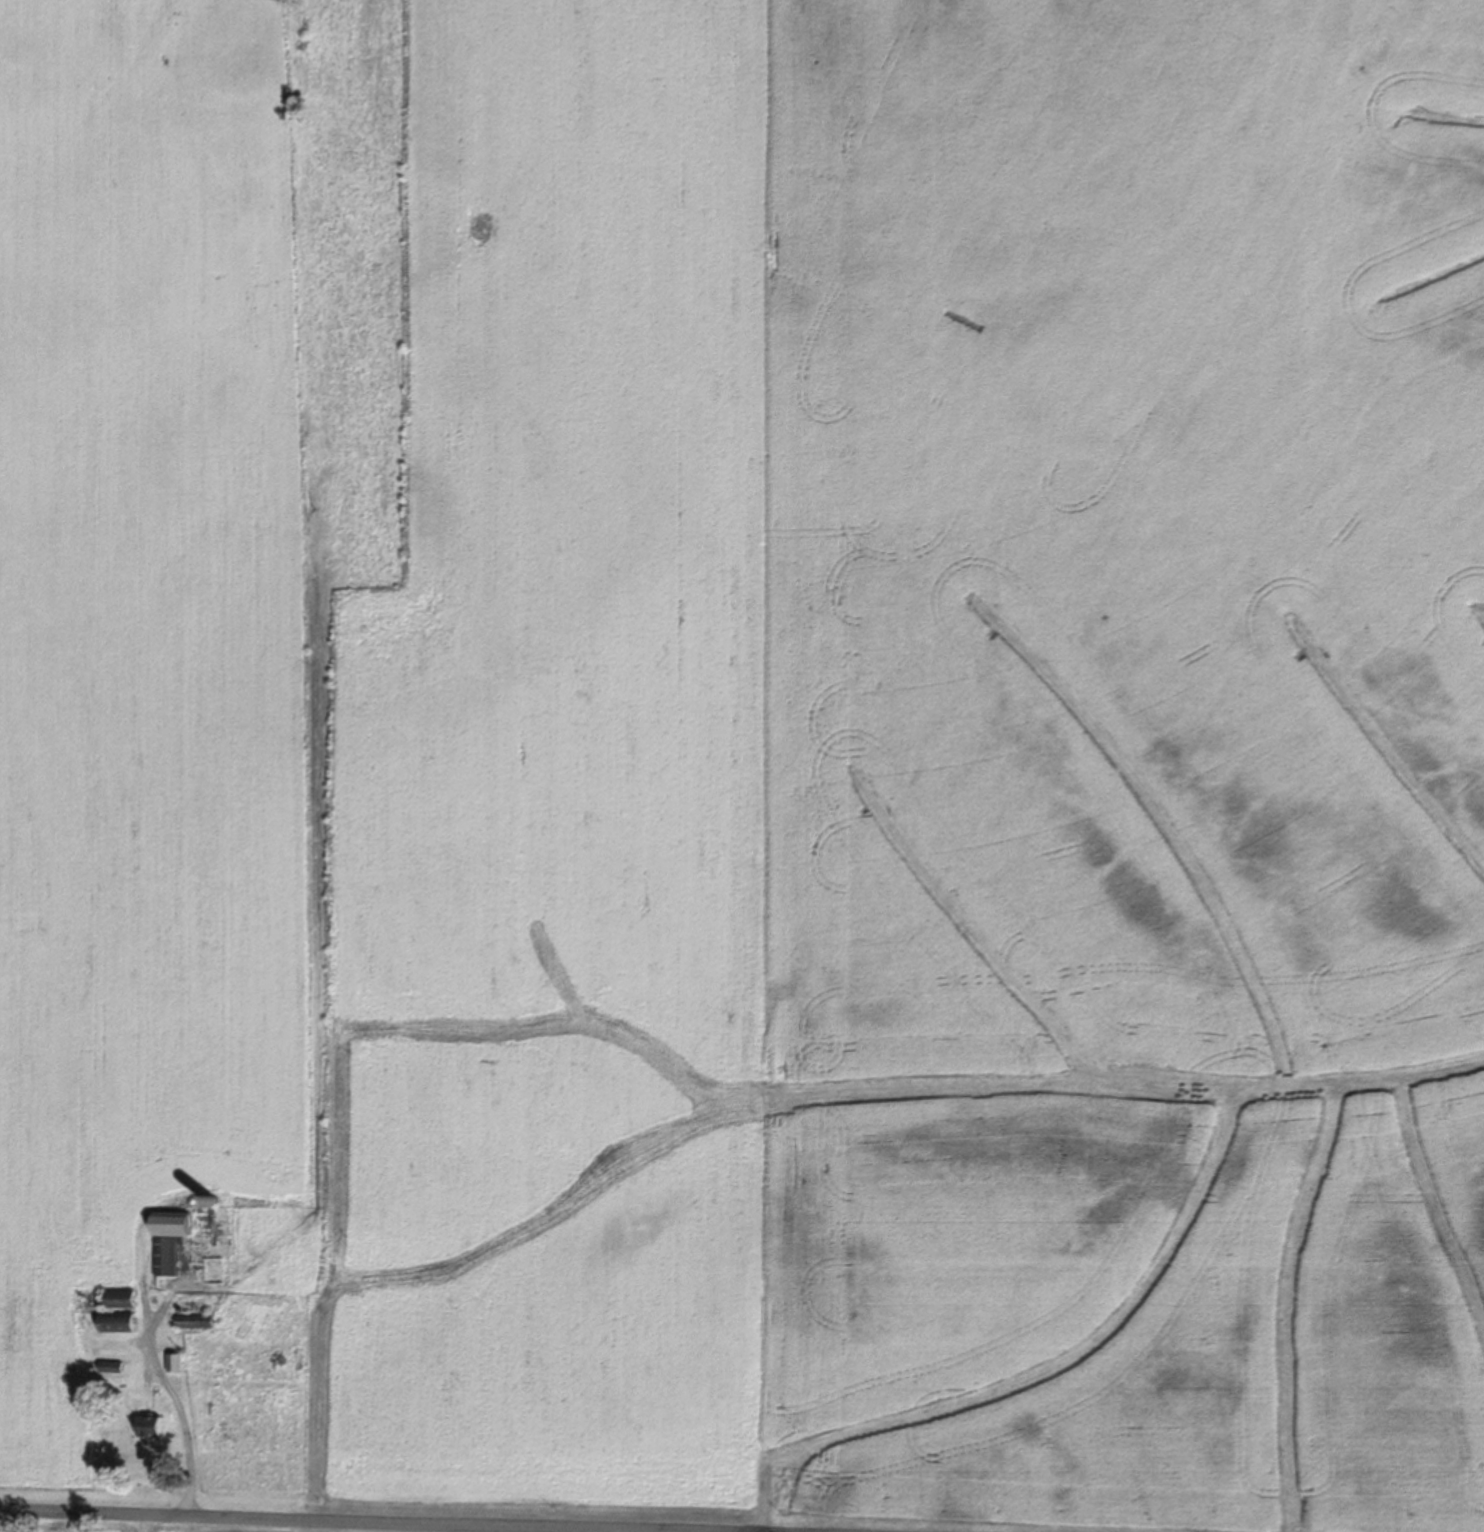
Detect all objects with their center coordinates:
building: (176, 1240)
building: (124, 1299)
building: (199, 1320)
building: (122, 1322)
building: (177, 1362)
building: (113, 1367)
building: (155, 1427)
road: (427, 1516)
road: (769, 1530)

